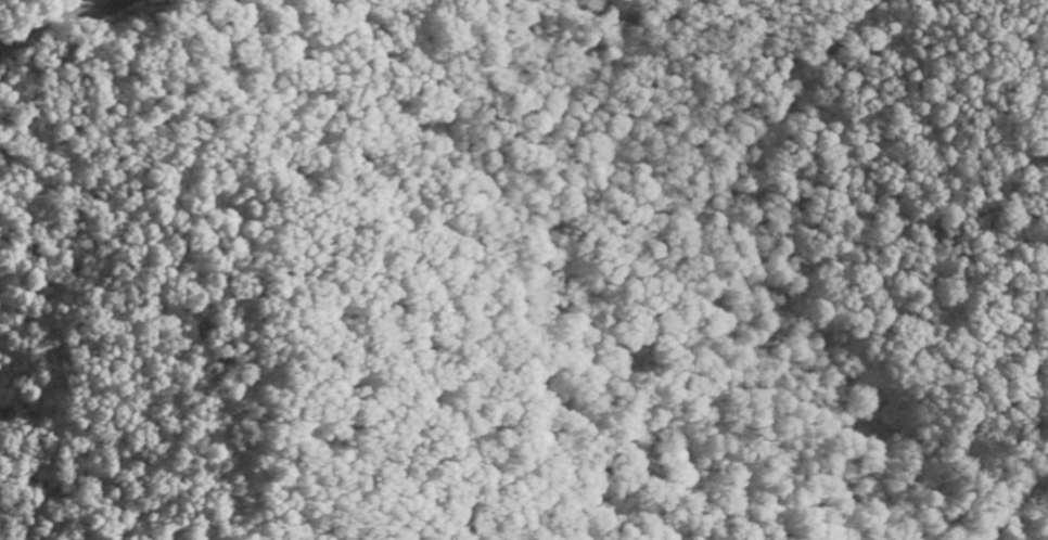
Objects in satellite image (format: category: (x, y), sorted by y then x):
road: (75, 38)

